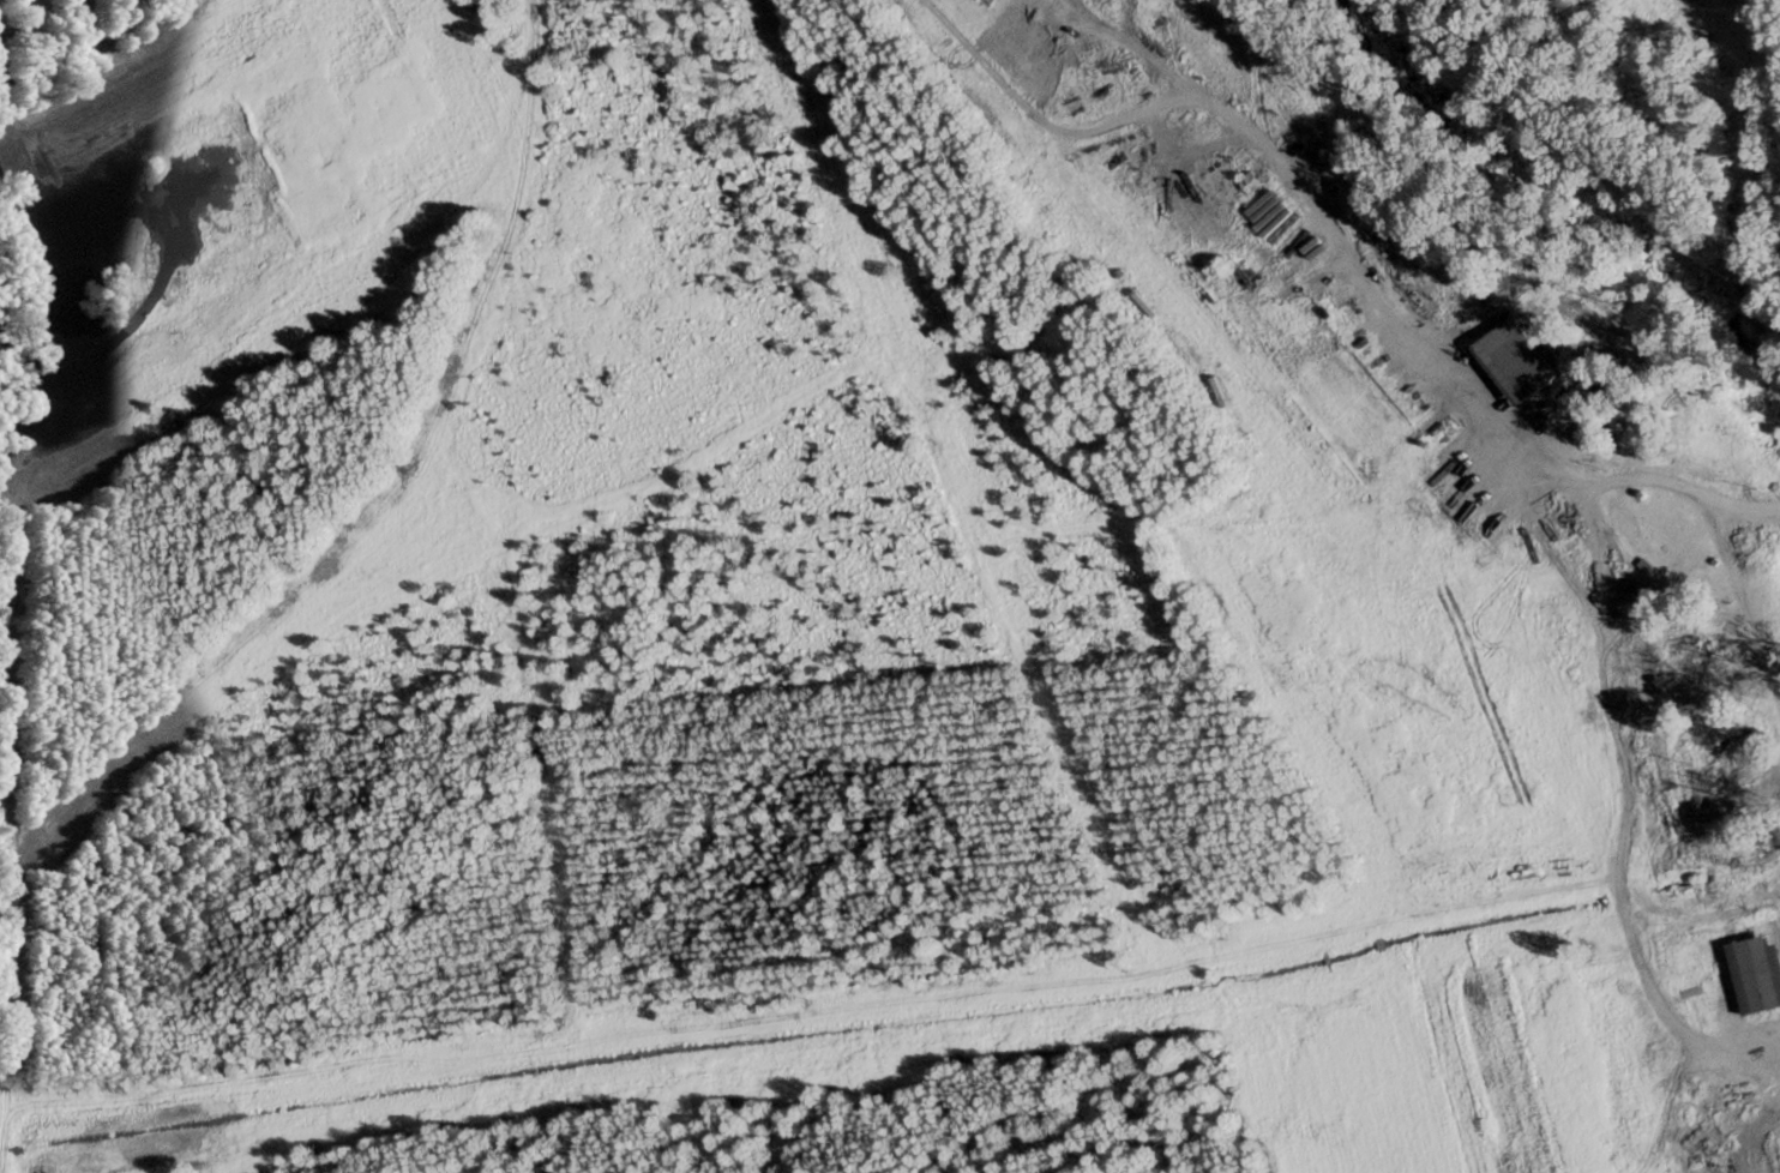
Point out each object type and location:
building: (1253, 181)
river: (1595, 194)
building: (1517, 362)
building: (1734, 754)
building: (1691, 856)
building: (1756, 973)

